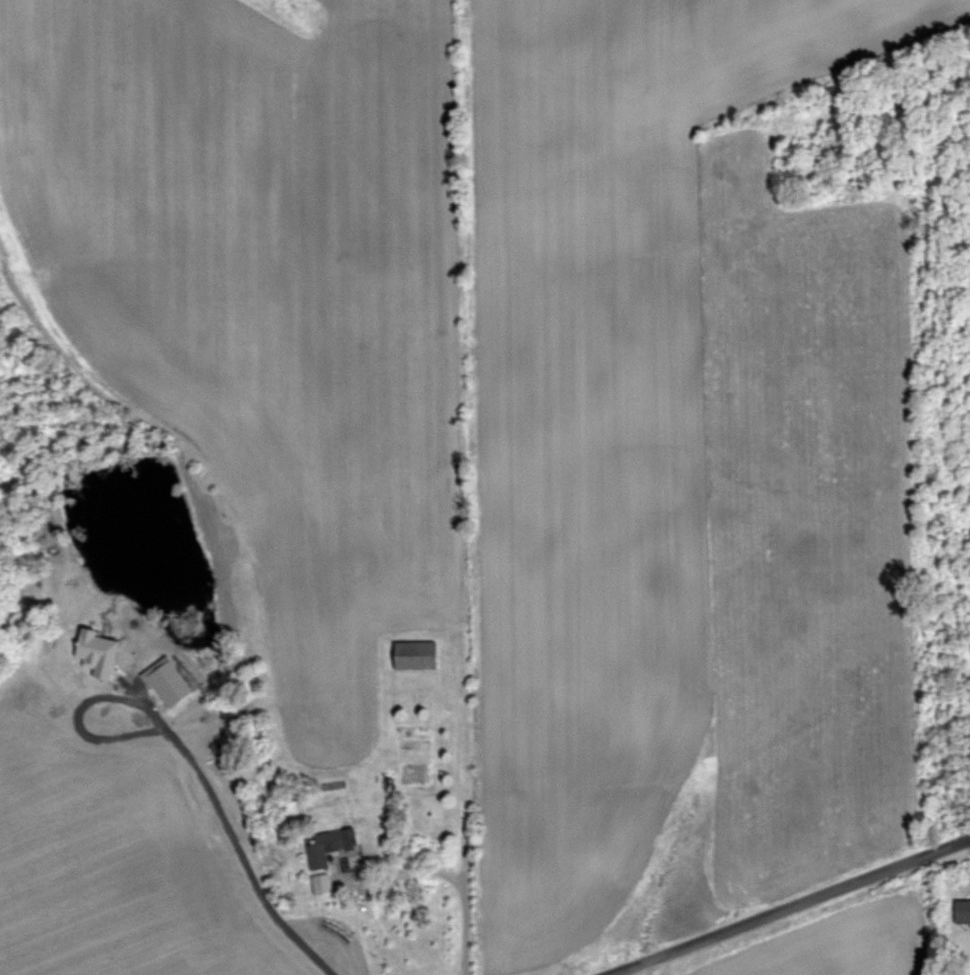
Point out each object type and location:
building: (416, 655)
road: (465, 805)
building: (325, 848)
road: (406, 871)
road: (788, 902)
building: (962, 913)

